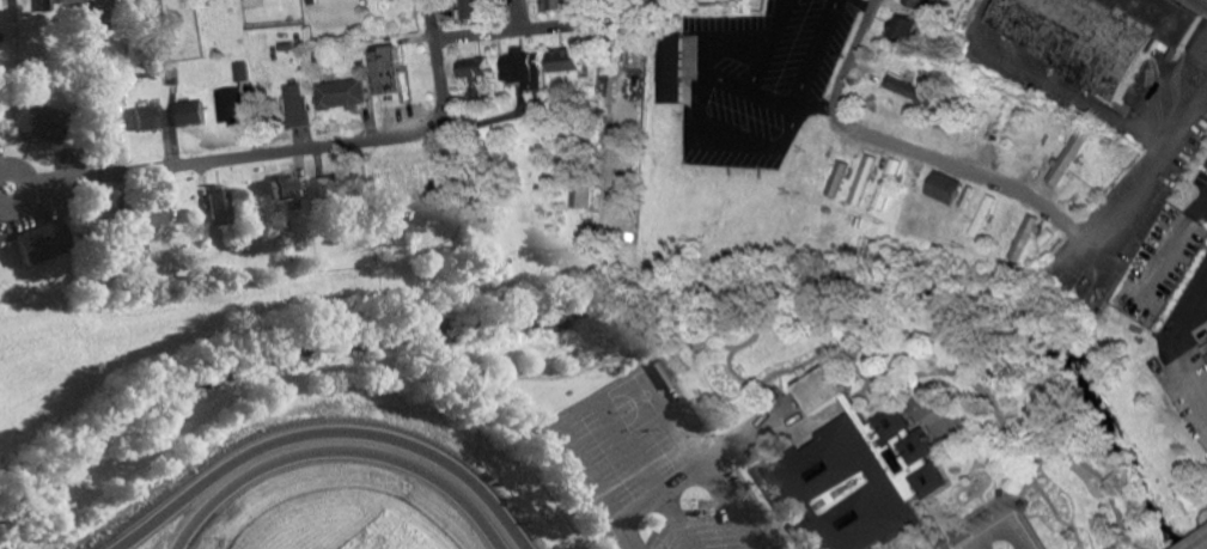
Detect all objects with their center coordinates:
road: (1206, 0)
building: (66, 1)
building: (310, 1)
building: (556, 4)
building: (916, 4)
building: (473, 8)
building: (98, 17)
road: (519, 17)
building: (901, 28)
building: (1093, 32)
road: (490, 36)
building: (566, 59)
building: (477, 67)
building: (670, 67)
building: (386, 68)
building: (525, 68)
building: (909, 90)
building: (340, 93)
building: (234, 98)
building: (295, 103)
road: (1080, 103)
road: (815, 104)
building: (189, 111)
building: (142, 116)
building: (104, 118)
building: (31, 120)
road: (861, 132)
road: (723, 134)
road: (300, 146)
road: (410, 150)
building: (1066, 157)
building: (836, 178)
building: (862, 179)
building: (329, 183)
building: (888, 183)
building: (943, 185)
building: (282, 188)
building: (578, 196)
road: (1199, 205)
building: (219, 206)
road: (1099, 228)
building: (1023, 237)
building: (38, 239)
road: (1171, 327)
road: (1195, 382)
building: (818, 389)
building: (889, 421)
road: (324, 437)
road: (340, 452)
road: (587, 465)
road: (700, 466)
road: (650, 474)
road: (714, 484)
building: (855, 484)
road: (999, 527)

